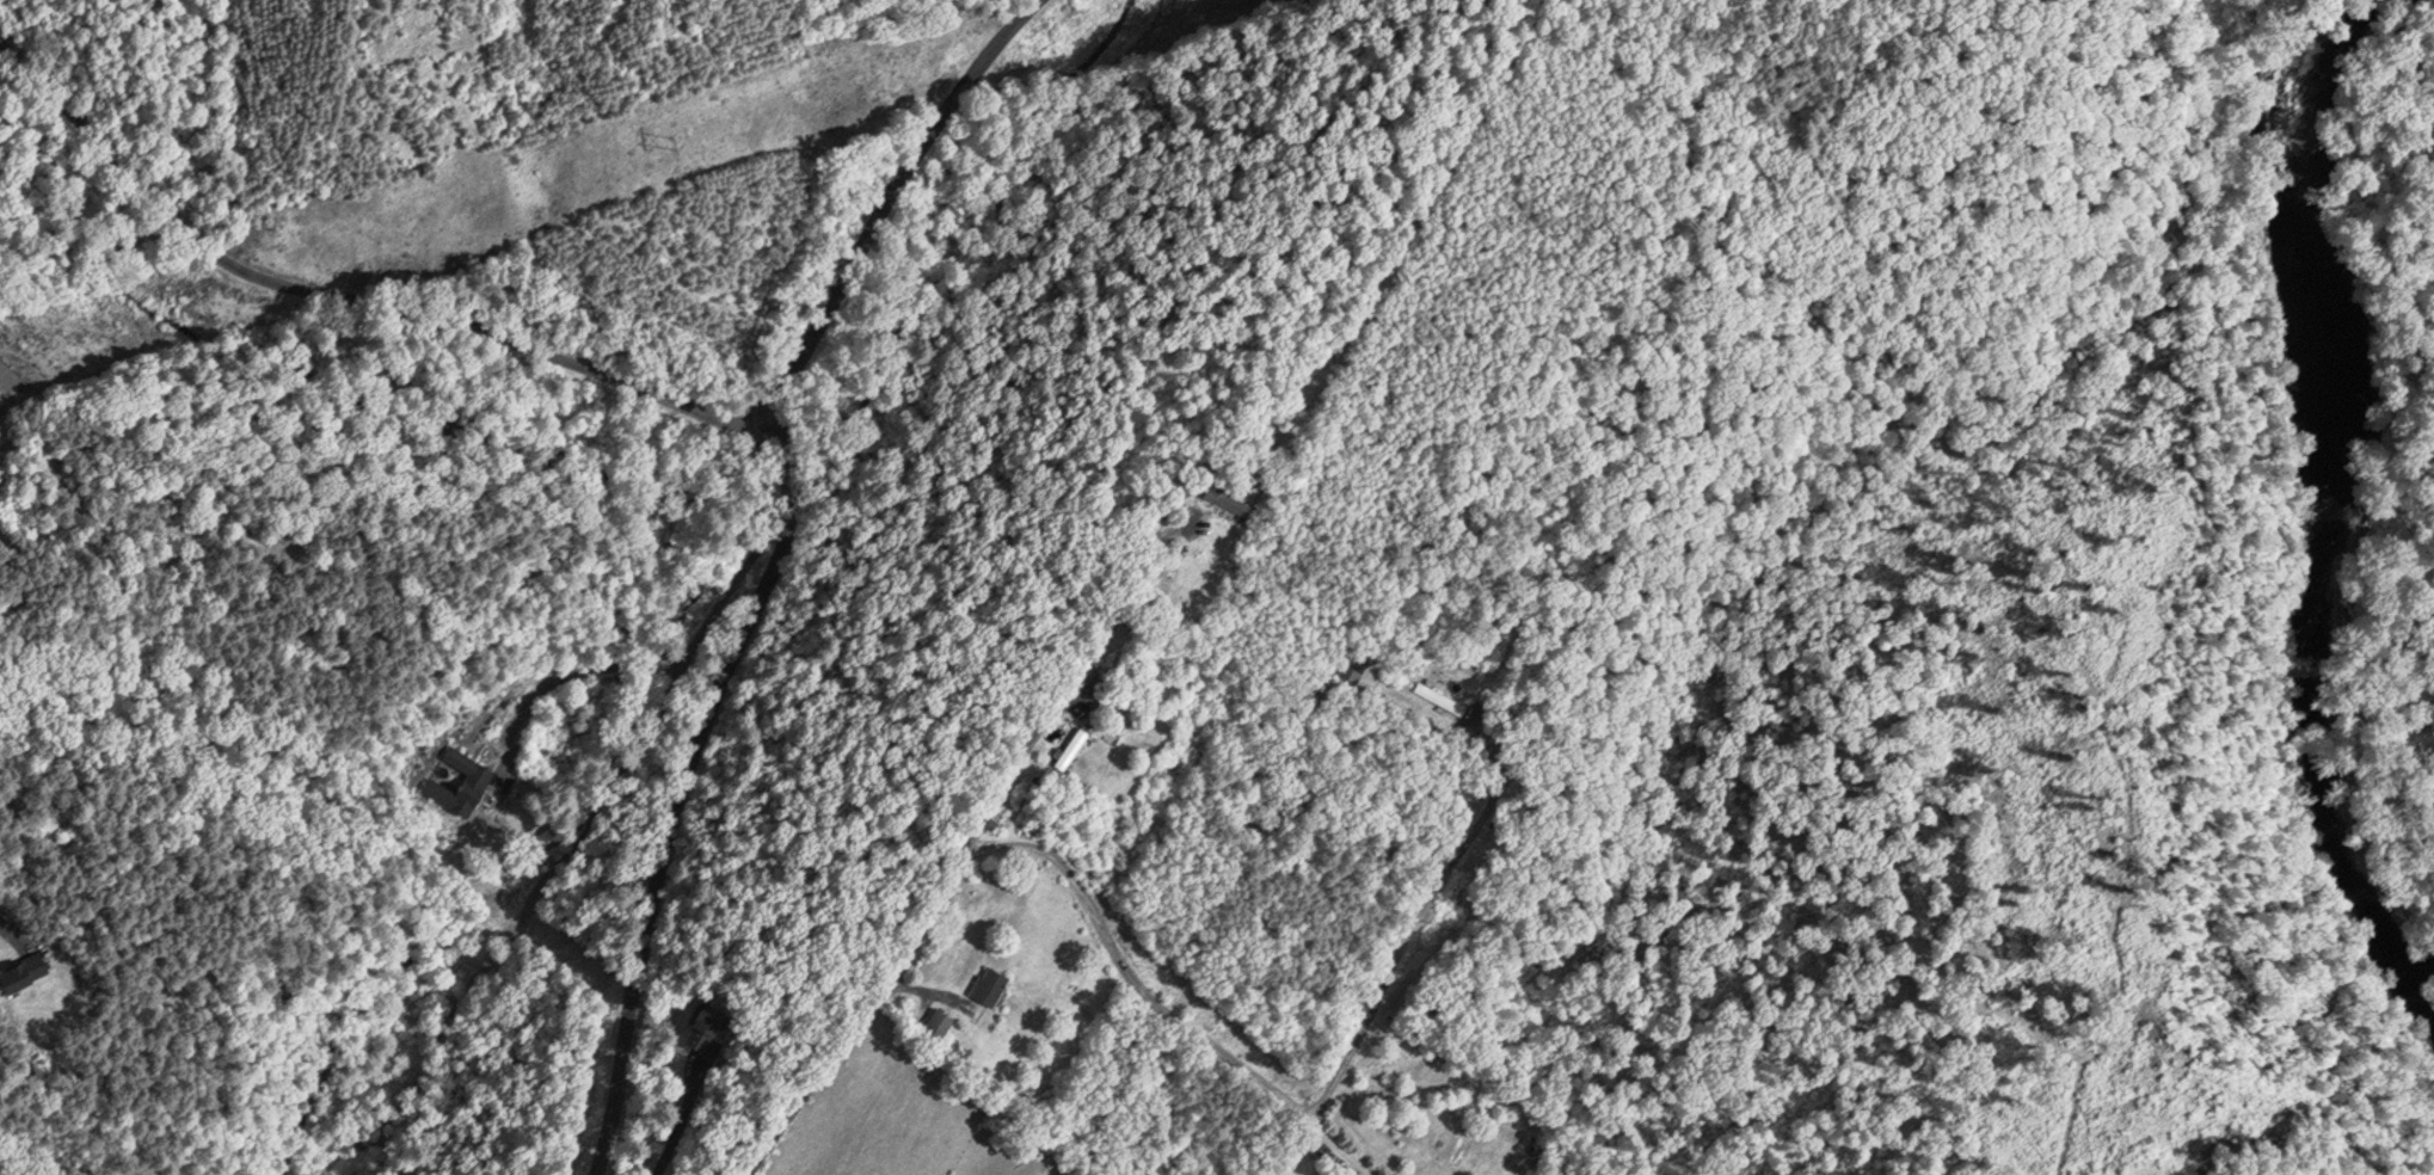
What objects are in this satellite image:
power tower: (676, 127)
road: (891, 204)
road: (352, 308)
building: (1225, 499)
river: (2313, 511)
road: (680, 668)
road: (1065, 689)
building: (1068, 748)
building: (455, 781)
road: (686, 795)
road: (1412, 928)
building: (20, 970)
building: (984, 984)
road: (1156, 1007)
road: (861, 1021)
building: (934, 1021)
road: (678, 1118)

